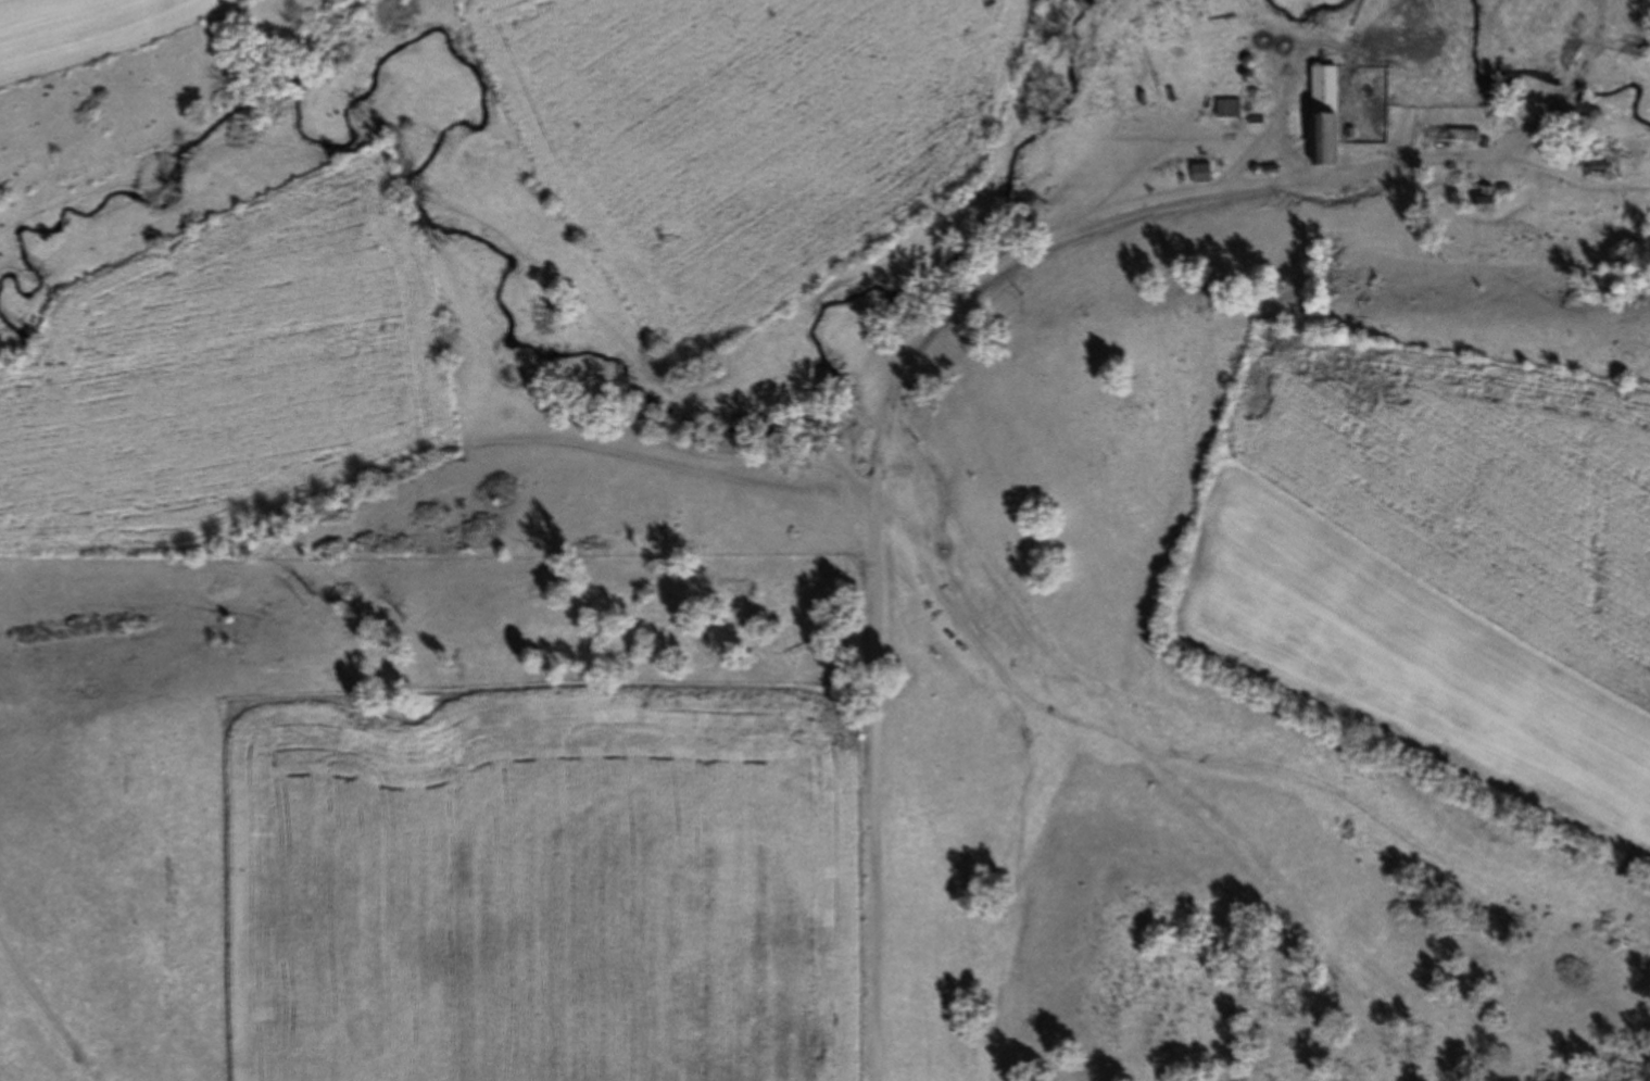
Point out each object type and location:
building: (1254, 91)
building: (1231, 108)
building: (1325, 115)
building: (1258, 120)
building: (1454, 134)
building: (1599, 167)
building: (1205, 172)
building: (1488, 199)
road: (903, 362)

